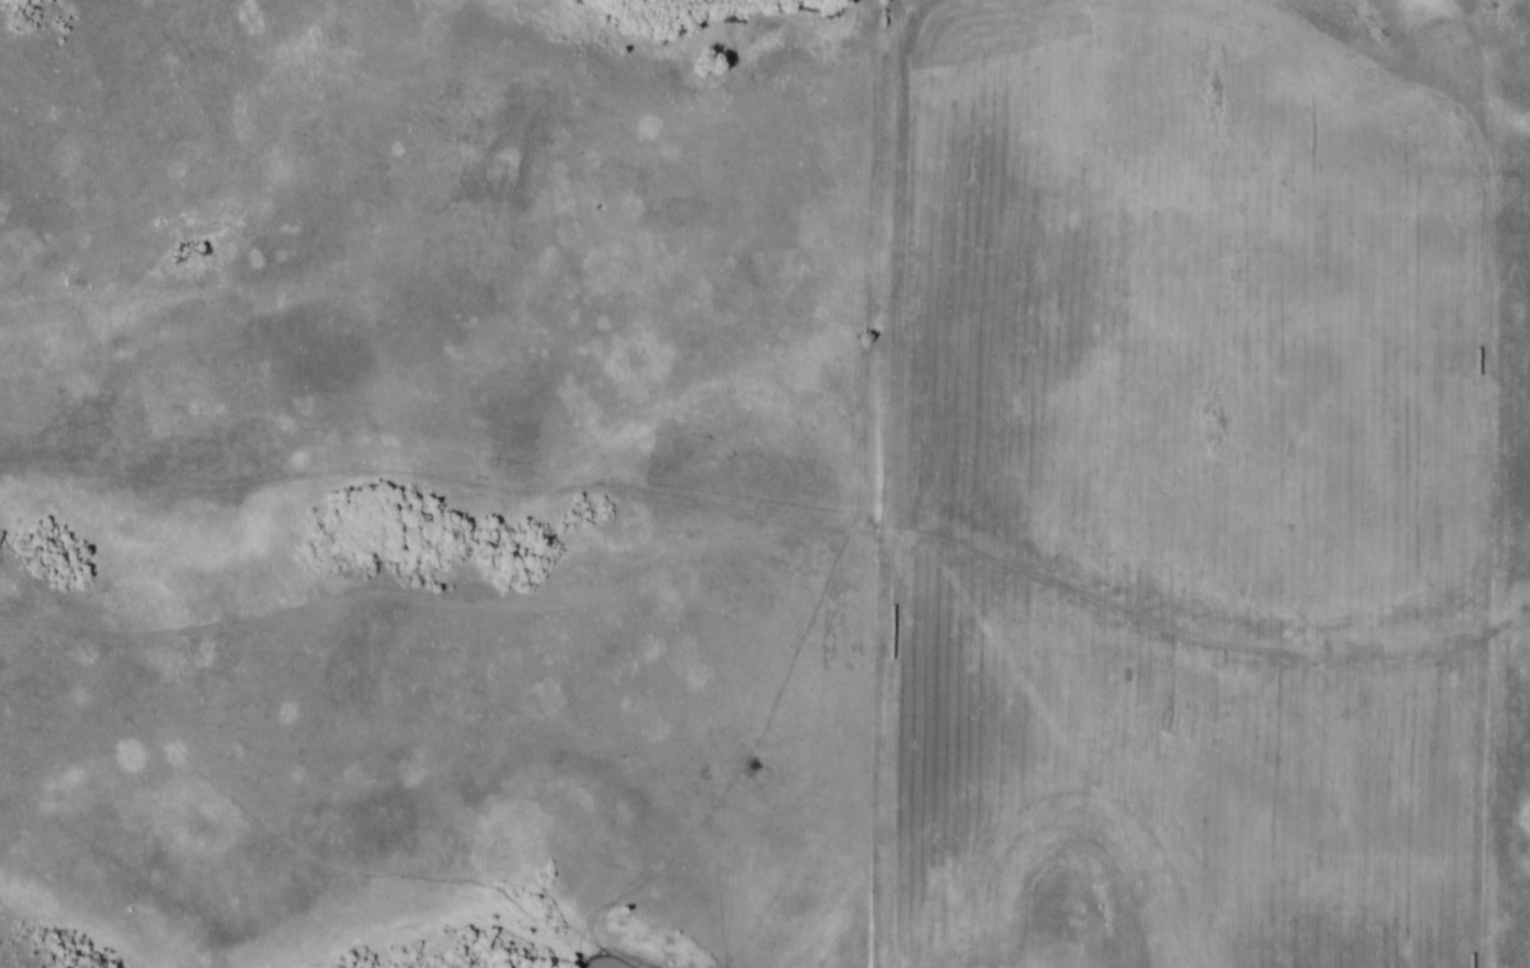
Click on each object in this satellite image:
road: (417, 476)
road: (292, 615)

